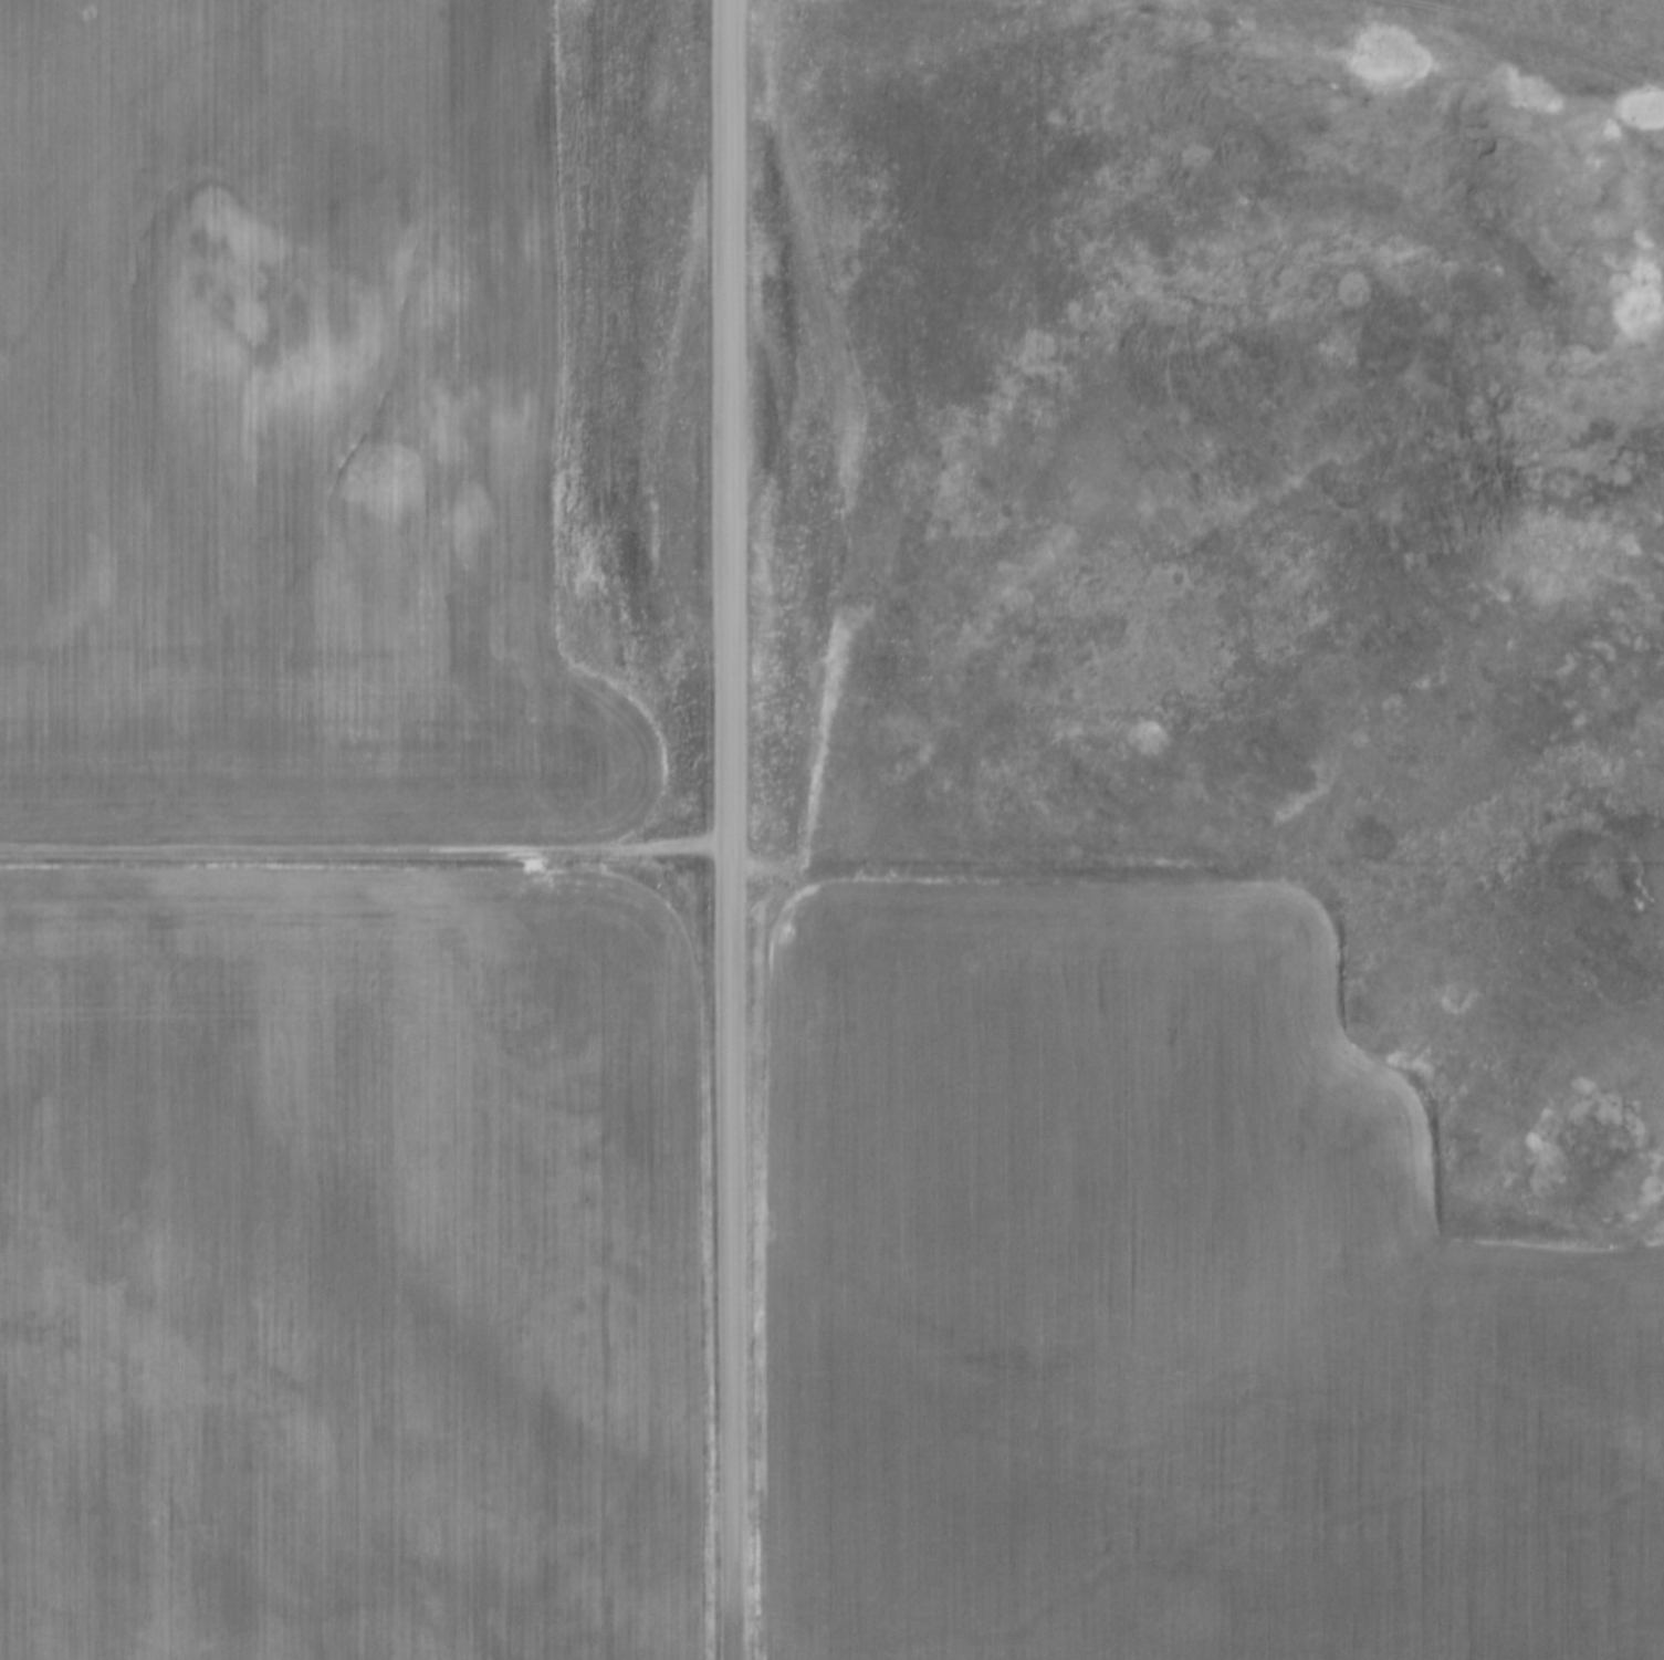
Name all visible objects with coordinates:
road: (1607, 24)
road: (903, 126)
road: (732, 829)
road: (541, 855)

